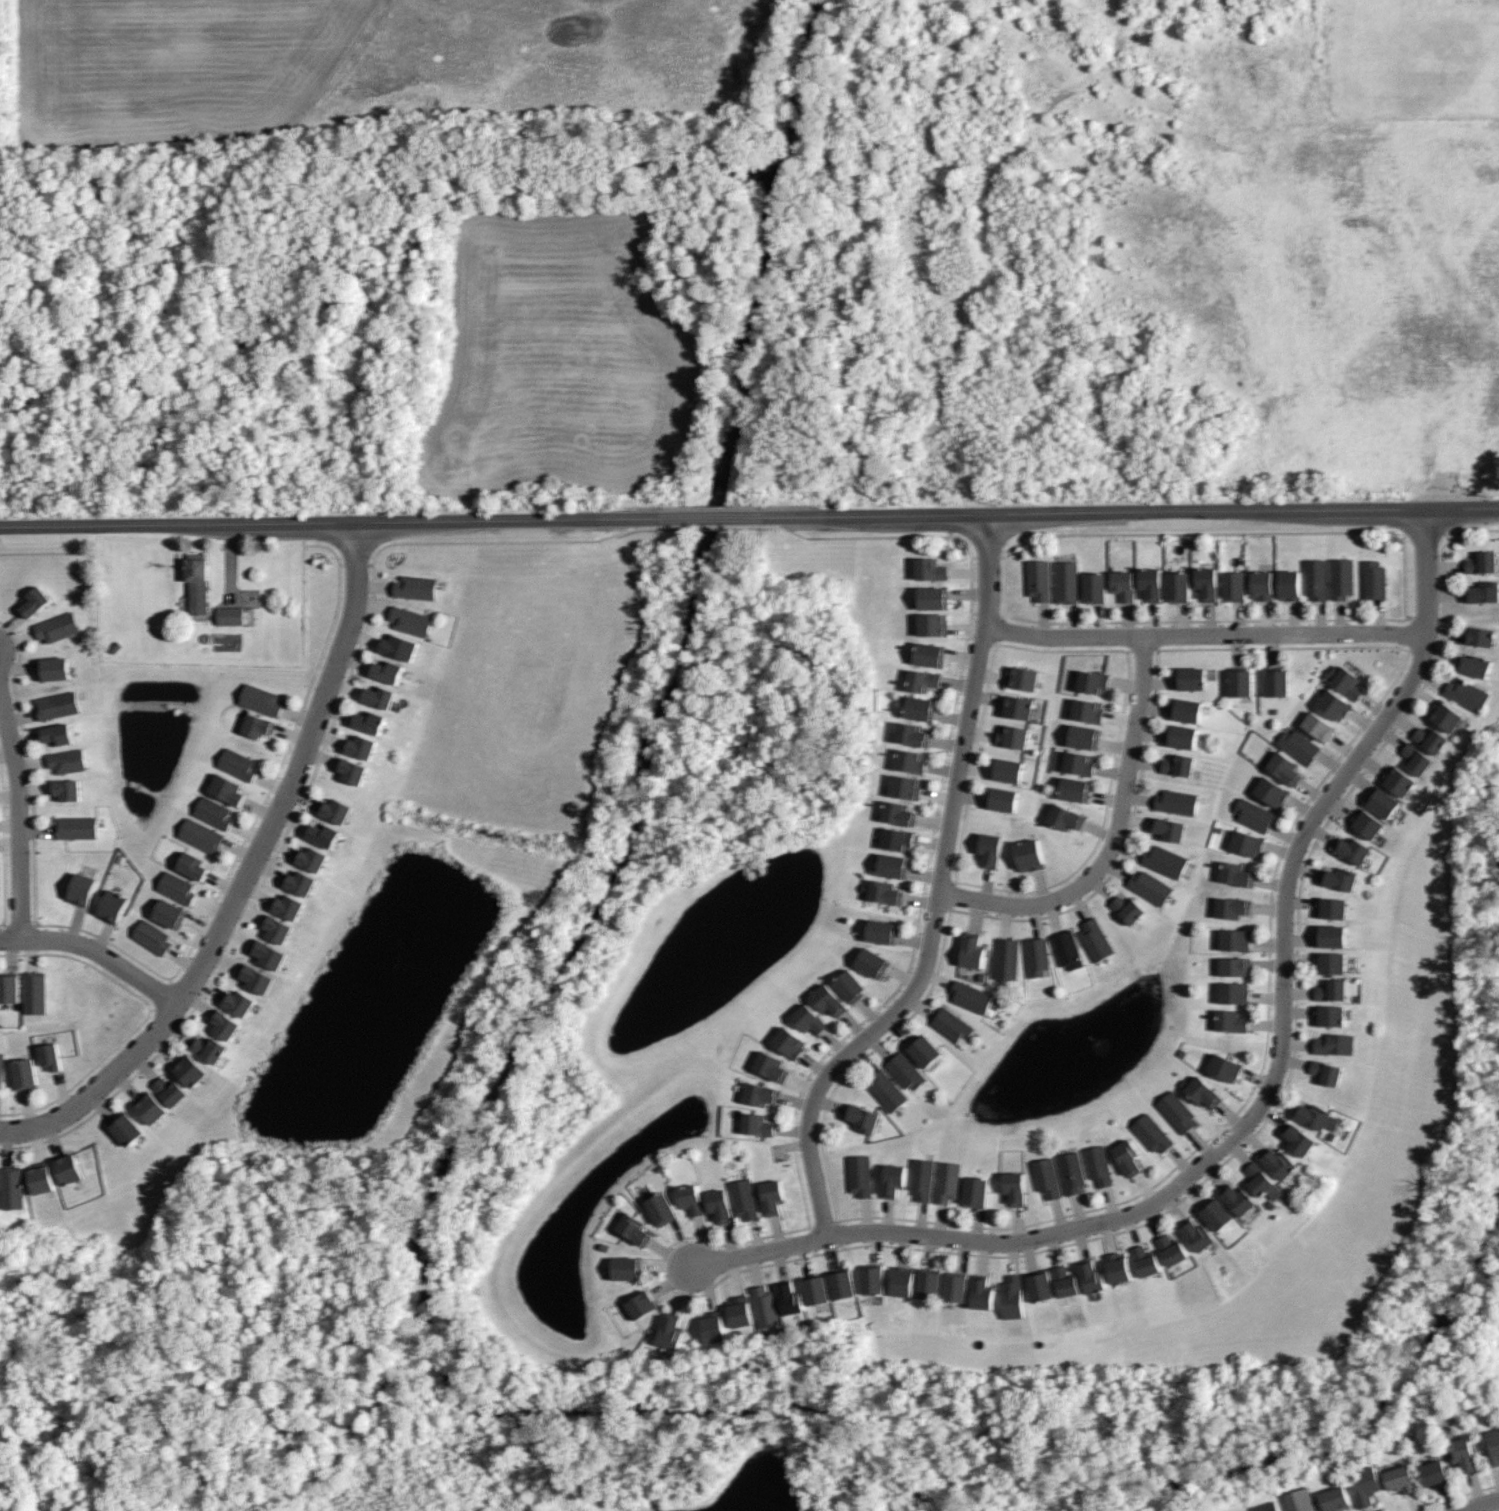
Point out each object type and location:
crop: (372, 64)
crop: (563, 359)
road: (1463, 493)
road: (1124, 511)
road: (713, 517)
road: (337, 522)
road: (713, 526)
road: (875, 538)
road: (511, 542)
road: (48, 554)
road: (981, 558)
building: (1480, 562)
road: (357, 565)
building: (930, 569)
building: (1342, 576)
building: (1315, 577)
building: (1037, 579)
building: (1374, 580)
building: (1151, 581)
building: (1206, 581)
building: (1065, 582)
building: (1289, 582)
building: (199, 583)
building: (1122, 584)
building: (1233, 584)
building: (1262, 584)
building: (1177, 585)
road: (375, 586)
building: (417, 586)
building: (1095, 587)
building: (1482, 593)
building: (933, 597)
building: (36, 601)
road: (373, 606)
building: (231, 615)
building: (412, 620)
building: (933, 623)
road: (11, 625)
building: (59, 627)
road: (1206, 634)
building: (1477, 635)
road: (365, 637)
road: (19, 639)
building: (400, 646)
building: (117, 647)
building: (931, 654)
road: (356, 661)
building: (1473, 664)
road: (19, 667)
river: (684, 667)
building: (54, 668)
building: (388, 670)
building: (1190, 676)
building: (1022, 677)
building: (923, 679)
building: (1091, 680)
building: (1240, 680)
building: (1343, 680)
building: (1277, 681)
road: (347, 687)
building: (1467, 693)
building: (379, 695)
building: (262, 699)
building: (1333, 702)
building: (57, 705)
building: (1017, 706)
building: (921, 707)
building: (1185, 707)
building: (1089, 710)
road: (338, 712)
building: (1444, 715)
road: (22, 716)
road: (298, 716)
road: (3, 720)
building: (370, 721)
building: (258, 725)
building: (1318, 725)
building: (58, 733)
road: (292, 734)
building: (914, 734)
building: (1182, 734)
building: (1013, 736)
road: (27, 737)
building: (1084, 737)
road: (330, 738)
building: (1429, 738)
building: (1299, 744)
building: (362, 746)
road: (7, 752)
building: (1415, 757)
building: (912, 759)
building: (68, 760)
building: (1079, 761)
building: (239, 764)
building: (1177, 764)
building: (1284, 766)
building: (1008, 769)
building: (353, 770)
building: (1397, 780)
road: (271, 784)
road: (34, 787)
building: (907, 787)
building: (1075, 787)
building: (66, 788)
building: (227, 788)
building: (1270, 791)
building: (1002, 796)
building: (1176, 800)
building: (1383, 801)
road: (259, 808)
building: (337, 810)
building: (215, 812)
road: (19, 813)
building: (900, 813)
building: (1253, 814)
building: (1065, 817)
road: (1314, 817)
building: (1366, 823)
road: (9, 825)
building: (76, 827)
building: (1169, 827)
road: (38, 832)
road: (247, 832)
building: (325, 834)
building: (202, 835)
road: (1116, 838)
building: (898, 839)
road: (10, 843)
building: (1246, 843)
road: (6, 844)
road: (283, 846)
building: (989, 848)
building: (1351, 848)
road: (239, 849)
building: (1029, 853)
building: (314, 858)
building: (1165, 859)
building: (193, 865)
building: (894, 865)
building: (1235, 873)
road: (247, 874)
building: (1338, 877)
building: (302, 883)
building: (178, 887)
building: (1151, 887)
building: (82, 888)
building: (887, 892)
road: (940, 895)
building: (113, 905)
road: (251, 906)
building: (290, 906)
building: (1127, 907)
building: (1231, 907)
building: (1330, 907)
building: (170, 912)
road: (20, 924)
building: (279, 928)
building: (883, 930)
building: (1330, 935)
building: (153, 936)
building: (1233, 939)
building: (1096, 940)
building: (970, 949)
building: (1066, 949)
road: (96, 951)
building: (268, 953)
building: (1036, 955)
building: (1006, 958)
building: (1330, 960)
building: (873, 962)
building: (1233, 965)
road: (182, 966)
building: (256, 977)
building: (850, 985)
building: (9, 986)
building: (1331, 989)
building: (35, 992)
building: (1232, 992)
building: (970, 996)
building: (828, 999)
building: (240, 1002)
building: (1330, 1014)
building: (807, 1017)
building: (1230, 1020)
building: (226, 1024)
building: (952, 1024)
building: (788, 1041)
building: (1333, 1042)
building: (210, 1048)
road: (165, 1049)
building: (922, 1050)
building: (50, 1055)
building: (771, 1065)
building: (1222, 1065)
building: (190, 1069)
building: (2, 1070)
building: (905, 1071)
building: (1324, 1071)
building: (26, 1074)
building: (886, 1089)
road: (62, 1091)
building: (171, 1091)
building: (1201, 1091)
building: (760, 1093)
building: (153, 1108)
building: (1178, 1109)
building: (860, 1116)
building: (1315, 1116)
building: (756, 1124)
building: (128, 1129)
building: (1153, 1131)
building: (1298, 1138)
road: (37, 1144)
building: (1127, 1155)
building: (1278, 1163)
building: (1099, 1164)
building: (70, 1168)
building: (1070, 1171)
building: (859, 1174)
building: (920, 1177)
building: (1045, 1177)
building: (42, 1178)
building: (1257, 1178)
building: (892, 1179)
building: (946, 1180)
building: (0, 1181)
building: (1014, 1186)
building: (13, 1187)
building: (974, 1190)
building: (771, 1195)
building: (743, 1198)
building: (1237, 1198)
building: (690, 1199)
building: (718, 1205)
building: (660, 1208)
building: (1216, 1213)
building: (635, 1229)
building: (1196, 1234)
road: (972, 1237)
building: (1171, 1248)
building: (1144, 1260)
building: (627, 1266)
building: (1117, 1266)
building: (1091, 1276)
building: (872, 1278)
building: (1065, 1280)
building: (903, 1281)
building: (840, 1283)
building: (928, 1283)
building: (953, 1285)
building: (1041, 1285)
building: (850, 1286)
building: (815, 1289)
building: (980, 1293)
building: (1010, 1296)
building: (790, 1297)
building: (641, 1304)
building: (763, 1306)
building: (738, 1310)
building: (712, 1326)
building: (669, 1330)
building: (1492, 1447)
building: (1462, 1453)
building: (1432, 1472)
crop: (0, 1476)
building: (1399, 1479)
building: (1362, 1485)
building: (1334, 1499)
building: (1298, 1500)
road: (1479, 1504)
building: (1265, 1506)
building: (1243, 1510)

